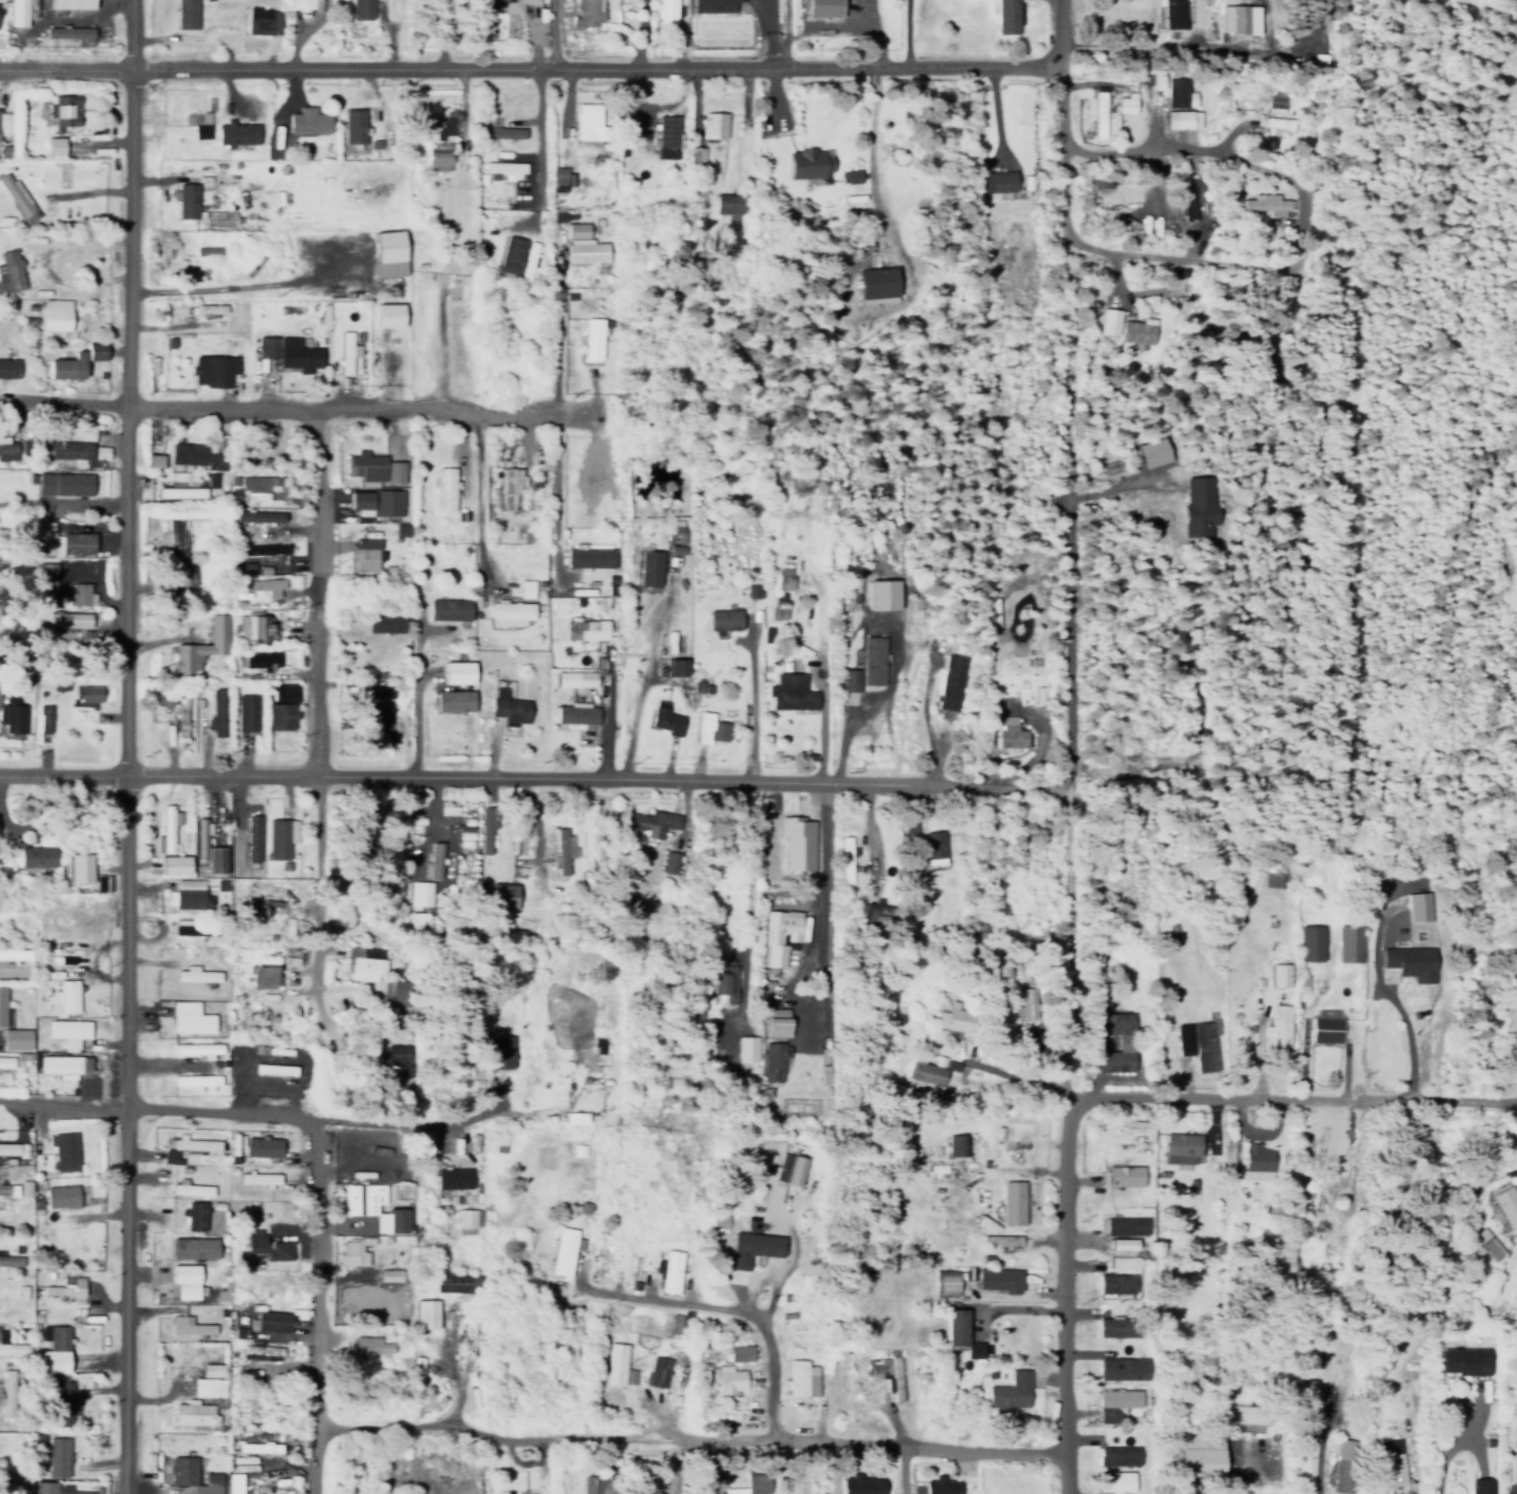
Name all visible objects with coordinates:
building: (509, 5)
building: (714, 5)
building: (824, 8)
building: (361, 9)
building: (17, 12)
building: (666, 12)
building: (588, 13)
building: (185, 14)
building: (1169, 14)
building: (1001, 15)
building: (1235, 18)
building: (263, 20)
building: (70, 31)
road: (134, 32)
road: (553, 34)
road: (1048, 34)
road: (67, 65)
road: (591, 67)
building: (1171, 90)
building: (1122, 102)
building: (68, 108)
building: (1094, 113)
building: (587, 116)
building: (1274, 116)
building: (310, 118)
building: (1178, 118)
building: (450, 121)
building: (354, 122)
building: (715, 122)
building: (199, 123)
building: (238, 129)
building: (3, 131)
building: (503, 131)
building: (667, 131)
building: (55, 145)
road: (541, 148)
road: (1228, 153)
building: (694, 154)
road: (872, 154)
building: (438, 156)
building: (810, 160)
building: (506, 168)
building: (557, 175)
building: (998, 178)
building: (20, 195)
building: (187, 197)
building: (1188, 198)
building: (730, 200)
building: (1260, 202)
building: (562, 215)
building: (222, 218)
building: (577, 229)
road: (132, 234)
road: (1092, 247)
building: (589, 249)
building: (207, 250)
building: (513, 251)
building: (388, 253)
building: (530, 258)
building: (9, 270)
building: (878, 282)
building: (211, 308)
building: (55, 314)
building: (388, 315)
building: (1105, 321)
building: (1134, 332)
building: (594, 335)
building: (397, 347)
building: (291, 348)
building: (349, 349)
building: (78, 361)
building: (217, 365)
building: (9, 367)
road: (65, 400)
road: (560, 400)
road: (363, 407)
building: (6, 447)
building: (68, 449)
building: (1146, 452)
building: (194, 457)
building: (155, 460)
building: (365, 467)
building: (393, 471)
building: (64, 483)
building: (586, 484)
building: (255, 485)
building: (181, 491)
road: (480, 498)
building: (377, 503)
building: (259, 511)
building: (173, 532)
building: (62, 536)
building: (681, 540)
building: (259, 548)
building: (365, 554)
building: (590, 555)
building: (650, 568)
building: (185, 570)
building: (45, 571)
building: (784, 578)
building: (263, 579)
road: (318, 588)
building: (526, 588)
building: (81, 589)
building: (752, 590)
building: (885, 594)
building: (448, 609)
building: (779, 609)
building: (511, 612)
building: (68, 615)
building: (385, 617)
building: (724, 619)
building: (254, 628)
building: (586, 629)
building: (201, 641)
building: (261, 655)
building: (871, 655)
building: (677, 667)
building: (456, 668)
building: (575, 675)
building: (848, 675)
building: (58, 679)
building: (949, 679)
building: (86, 688)
building: (790, 688)
road: (418, 690)
building: (379, 691)
building: (453, 693)
road: (752, 697)
building: (1004, 697)
building: (281, 702)
building: (507, 703)
building: (181, 707)
building: (246, 707)
building: (217, 708)
building: (576, 709)
building: (12, 711)
building: (45, 712)
building: (665, 713)
building: (713, 722)
building: (1009, 732)
road: (128, 753)
road: (64, 771)
road: (590, 774)
building: (253, 811)
building: (655, 818)
building: (486, 823)
building: (167, 824)
road: (872, 829)
building: (279, 833)
building: (200, 834)
building: (252, 838)
building: (797, 843)
building: (932, 843)
building: (560, 847)
building: (518, 852)
building: (215, 855)
building: (36, 856)
building: (433, 856)
building: (174, 859)
building: (675, 859)
building: (845, 860)
building: (80, 868)
building: (1271, 878)
building: (420, 889)
building: (185, 890)
building: (501, 891)
road: (1053, 894)
building: (441, 896)
building: (724, 905)
road: (823, 905)
building: (1416, 905)
road: (319, 909)
building: (877, 909)
building: (417, 914)
building: (192, 927)
building: (779, 935)
building: (1303, 941)
building: (1345, 942)
building: (15, 955)
building: (1406, 961)
building: (365, 962)
building: (1275, 974)
building: (198, 975)
building: (264, 977)
building: (723, 985)
building: (67, 995)
building: (1025, 999)
building: (2, 1006)
building: (954, 1014)
building: (190, 1018)
building: (1277, 1021)
building: (1324, 1021)
road: (1405, 1025)
building: (779, 1027)
building: (69, 1031)
building: (896, 1033)
building: (1123, 1037)
building: (15, 1038)
building: (1202, 1042)
building: (198, 1049)
building: (502, 1051)
building: (773, 1056)
building: (398, 1060)
building: (60, 1065)
building: (209, 1070)
building: (926, 1072)
building: (197, 1081)
road: (1291, 1097)
road: (64, 1101)
road: (1516, 1102)
road: (219, 1109)
building: (1016, 1139)
building: (956, 1140)
building: (1181, 1144)
building: (261, 1147)
building: (9, 1149)
building: (63, 1151)
building: (1255, 1158)
building: (786, 1167)
building: (1123, 1172)
building: (454, 1178)
building: (259, 1179)
building: (23, 1188)
building: (190, 1188)
building: (4, 1190)
building: (61, 1196)
building: (361, 1198)
building: (1012, 1198)
building: (1324, 1204)
building: (1508, 1205)
building: (194, 1215)
building: (467, 1220)
building: (715, 1220)
building: (391, 1221)
building: (1125, 1222)
building: (1002, 1236)
building: (1122, 1239)
building: (1483, 1242)
building: (749, 1243)
building: (269, 1247)
building: (195, 1248)
building: (352, 1251)
building: (10, 1260)
building: (665, 1270)
building: (999, 1274)
building: (391, 1275)
building: (945, 1277)
building: (1117, 1279)
building: (186, 1281)
building: (66, 1282)
building: (454, 1284)
building: (222, 1294)
road: (1065, 1295)
road: (126, 1299)
building: (12, 1302)
road: (719, 1302)
road: (318, 1306)
building: (428, 1316)
building: (189, 1321)
building: (673, 1323)
building: (1119, 1323)
building: (960, 1329)
building: (11, 1341)
building: (466, 1341)
building: (52, 1346)
building: (370, 1346)
building: (260, 1352)
building: (734, 1352)
building: (1467, 1357)
building: (613, 1364)
building: (1122, 1364)
building: (652, 1371)
building: (885, 1373)
building: (796, 1377)
building: (725, 1378)
building: (210, 1381)
building: (1010, 1387)
building: (6, 1389)
building: (1116, 1398)
building: (1304, 1399)
building: (62, 1400)
building: (193, 1409)
building: (1247, 1410)
building: (1515, 1414)
road: (692, 1433)
road: (1450, 1445)
building: (256, 1447)
building: (1117, 1451)
building: (56, 1452)
building: (1198, 1455)
building: (1342, 1460)
building: (1515, 1462)
building: (1391, 1469)
building: (194, 1474)
building: (1114, 1478)
building: (589, 1482)
building: (860, 1483)
building: (740, 1484)
building: (940, 1484)
building: (1482, 1484)
building: (43, 1485)
building: (71, 1489)

